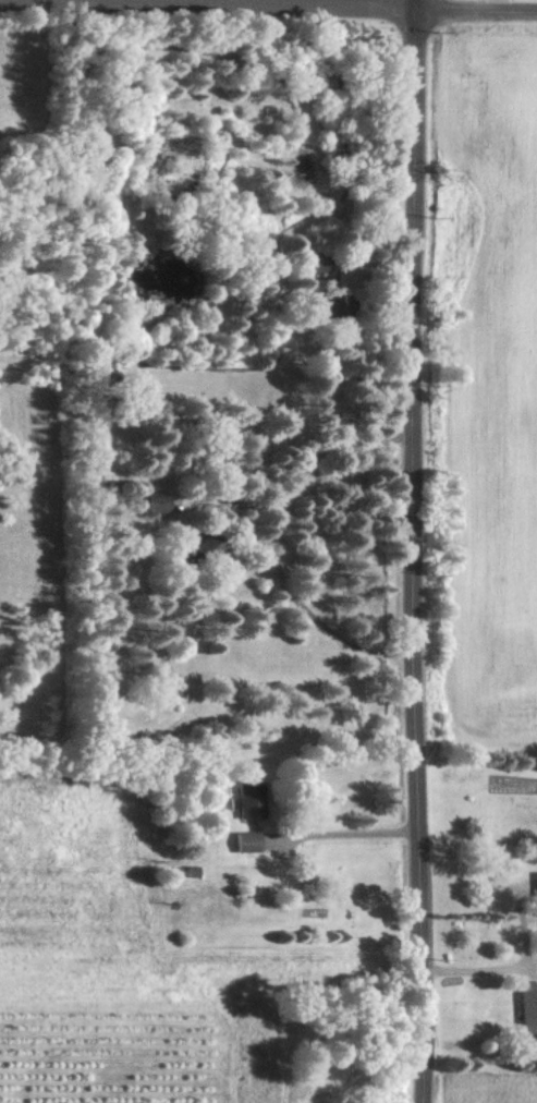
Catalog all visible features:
road: (268, 4)
building: (309, 264)
building: (331, 308)
building: (145, 502)
road: (270, 541)
building: (200, 550)
road: (402, 550)
building: (242, 799)
road: (332, 833)
building: (236, 840)
building: (530, 888)
building: (516, 1009)

